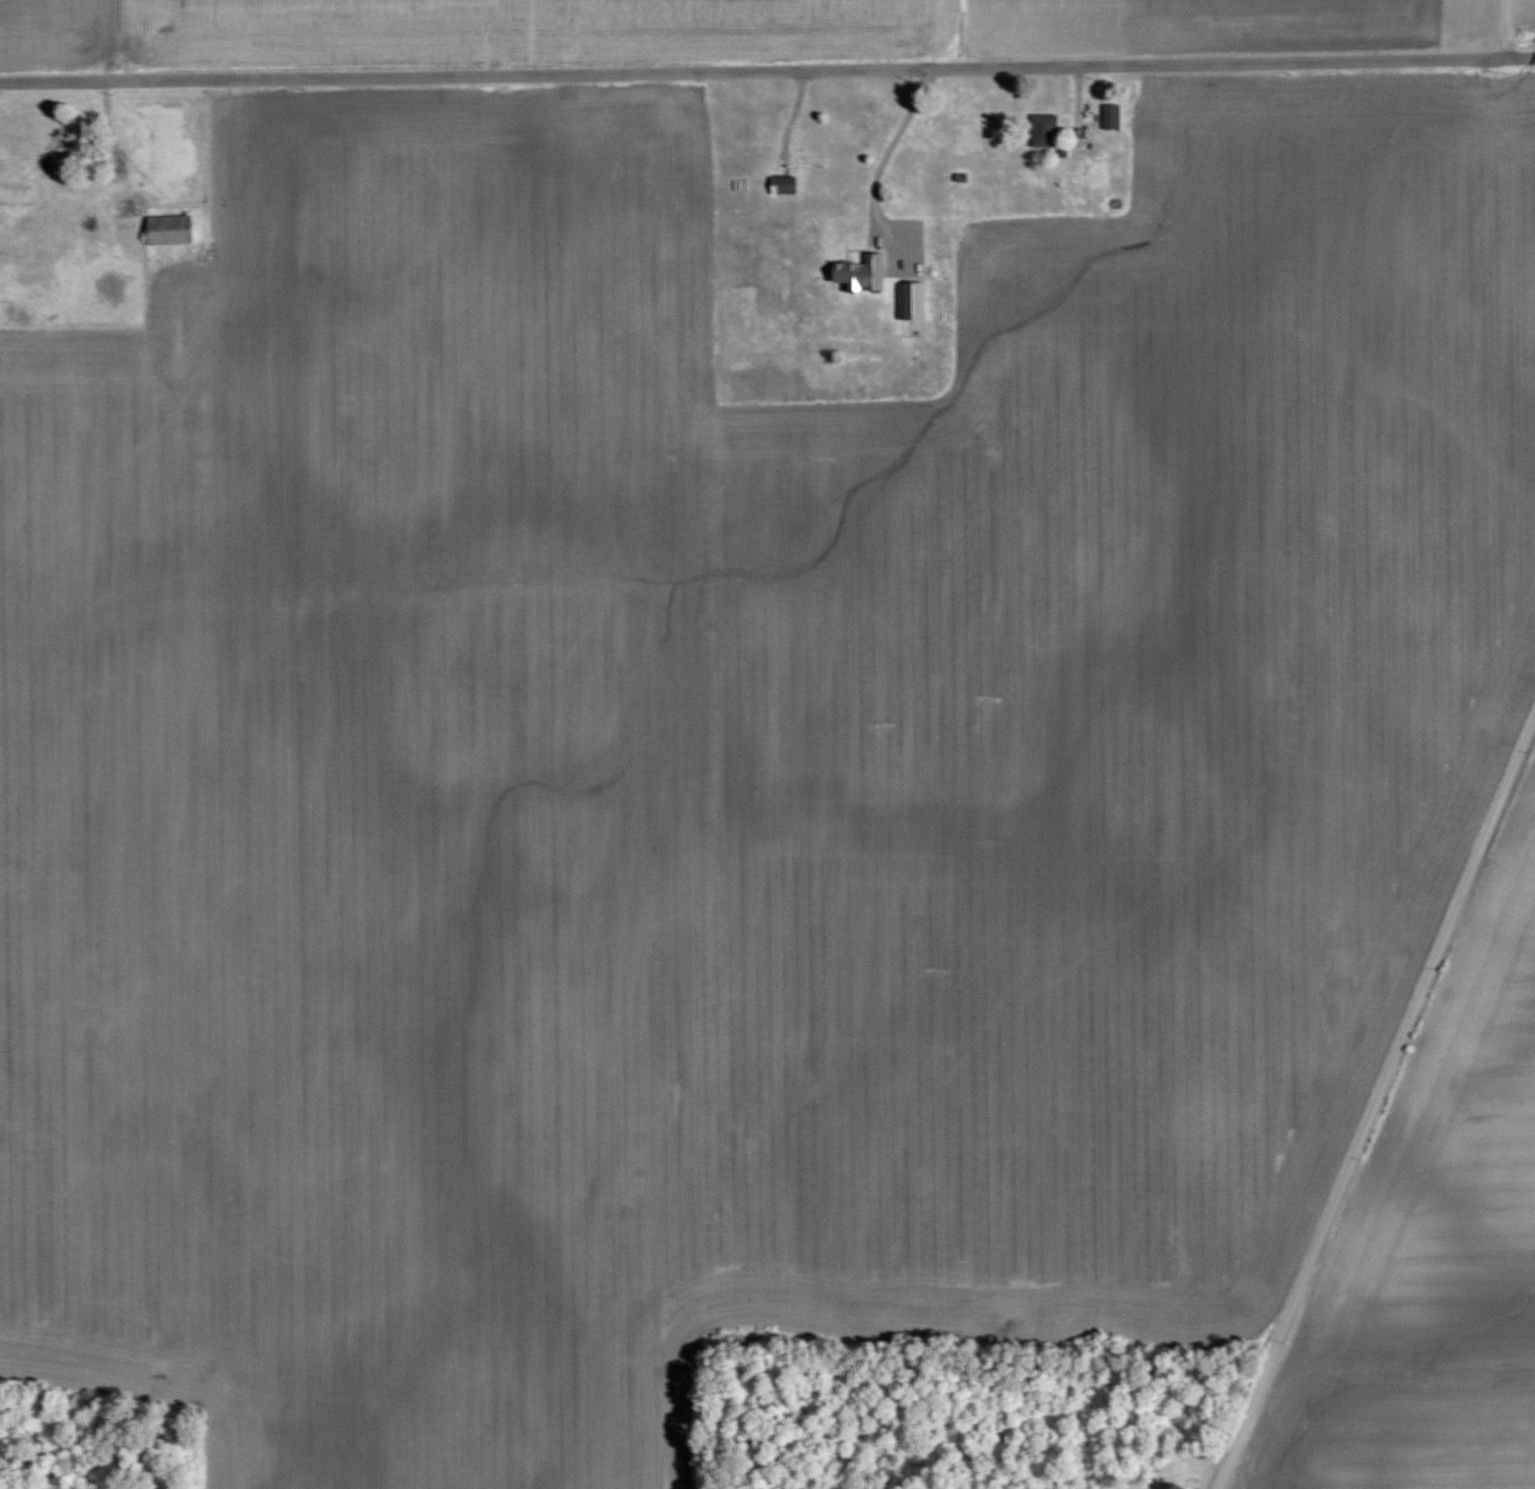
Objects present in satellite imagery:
road: (1505, 27)
road: (767, 70)
building: (1110, 116)
building: (1043, 129)
building: (72, 137)
road: (890, 147)
building: (782, 184)
building: (129, 206)
building: (168, 228)
building: (859, 272)
road: (1377, 1107)

